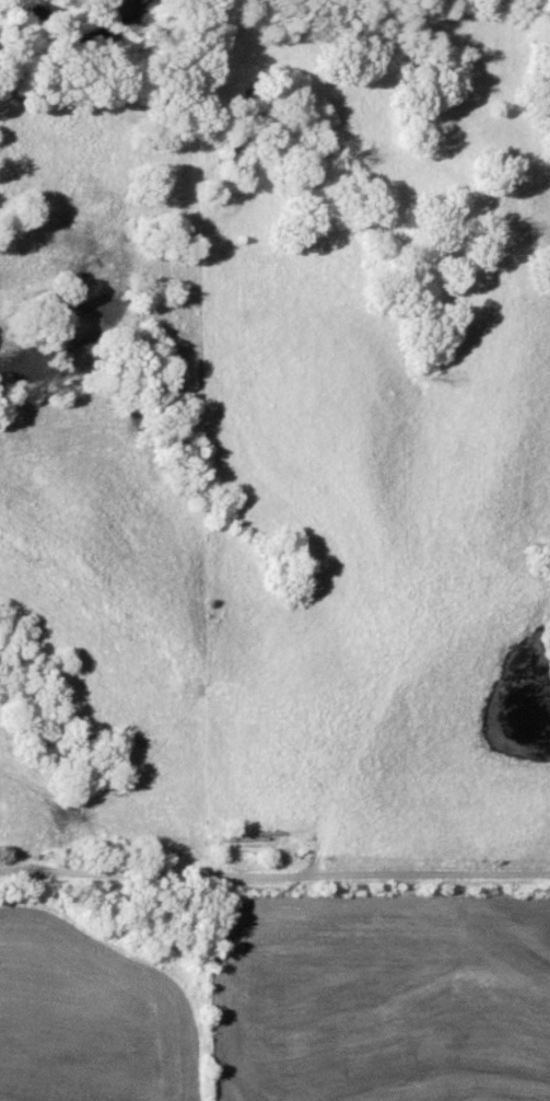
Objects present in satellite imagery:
road: (274, 877)

